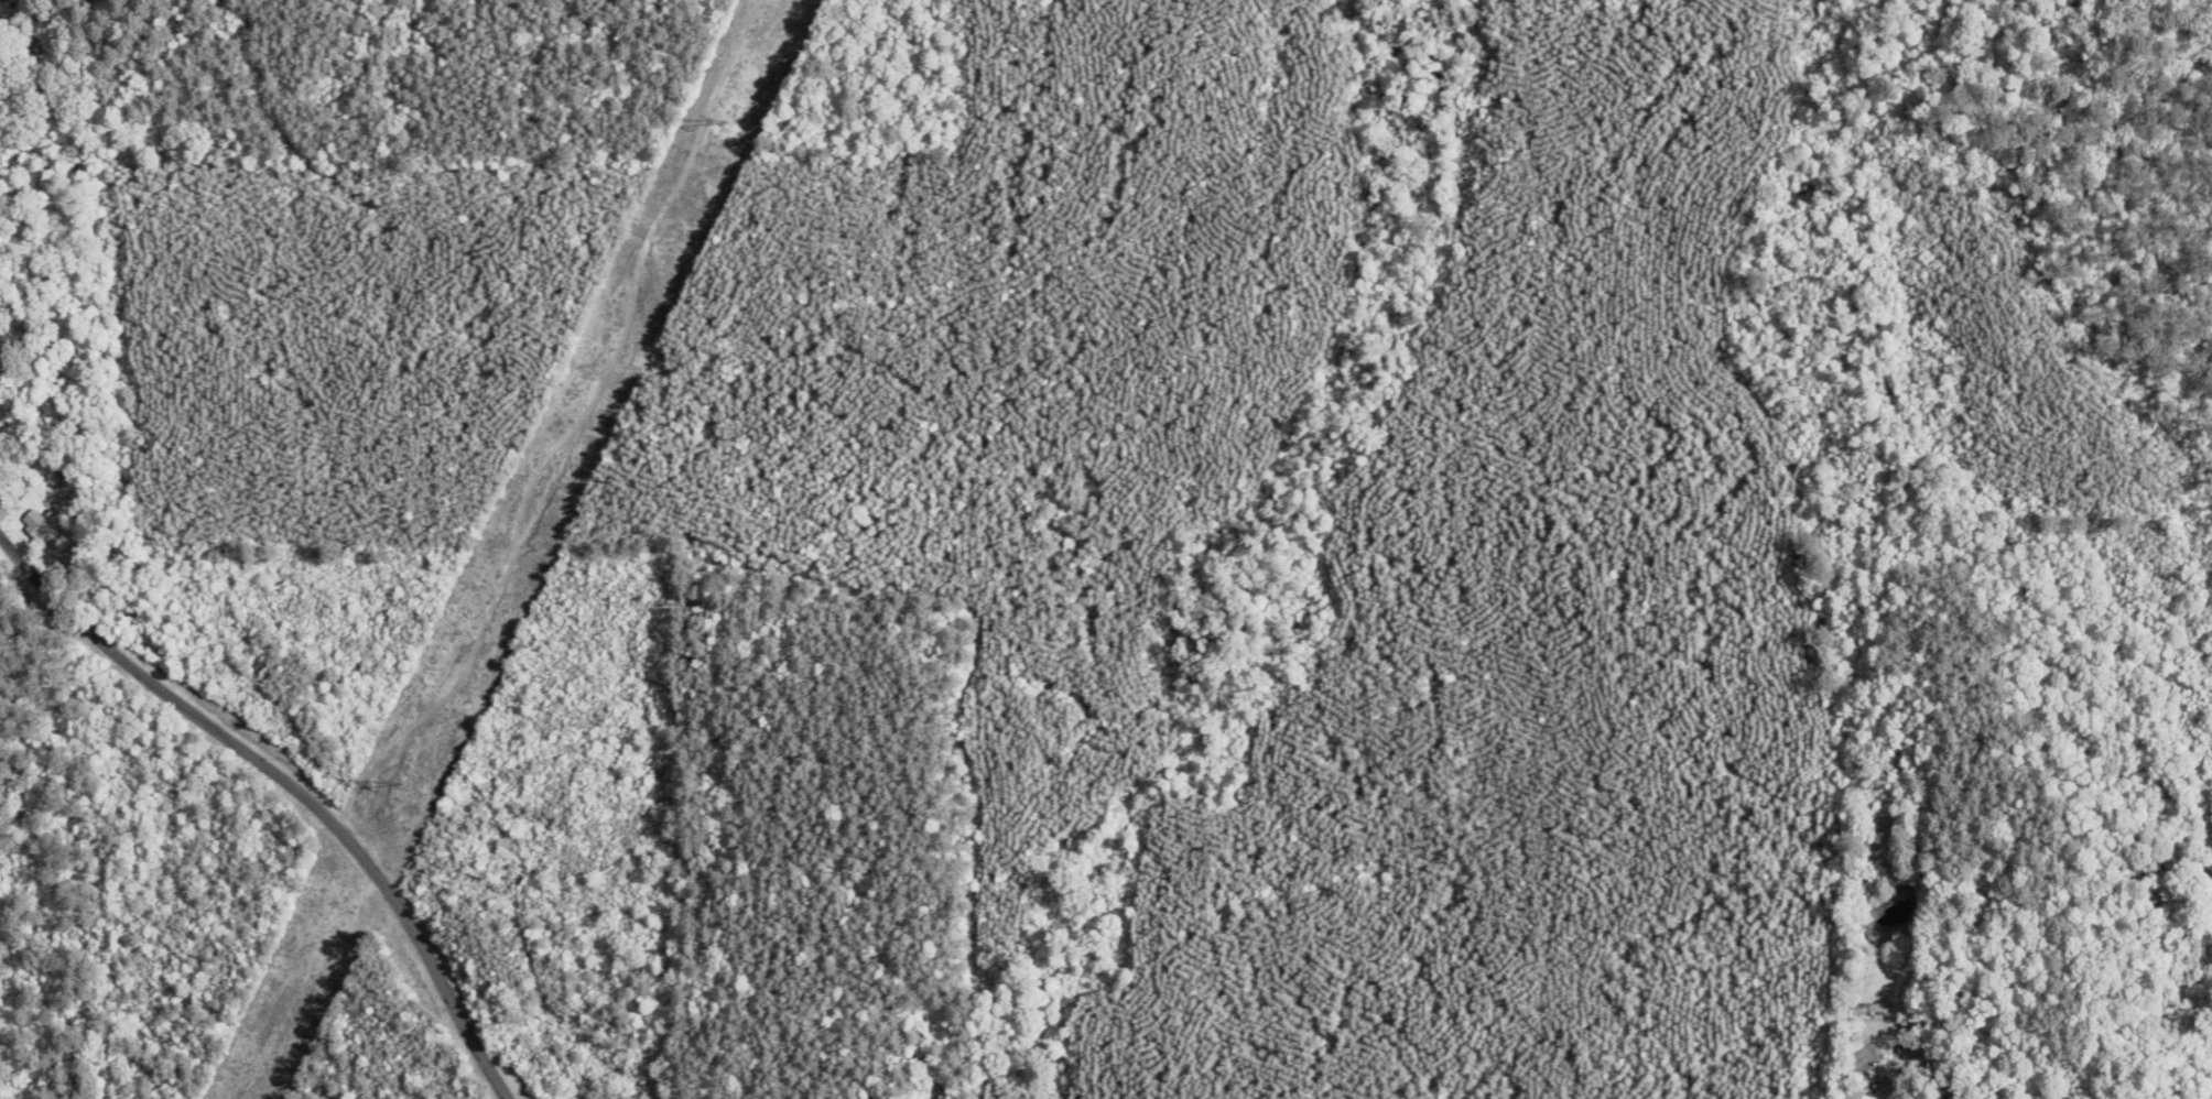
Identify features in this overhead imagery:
power tower: (723, 123)
building: (33, 524)
road: (172, 697)
power tower: (398, 784)
road: (434, 969)
building: (2203, 1052)

